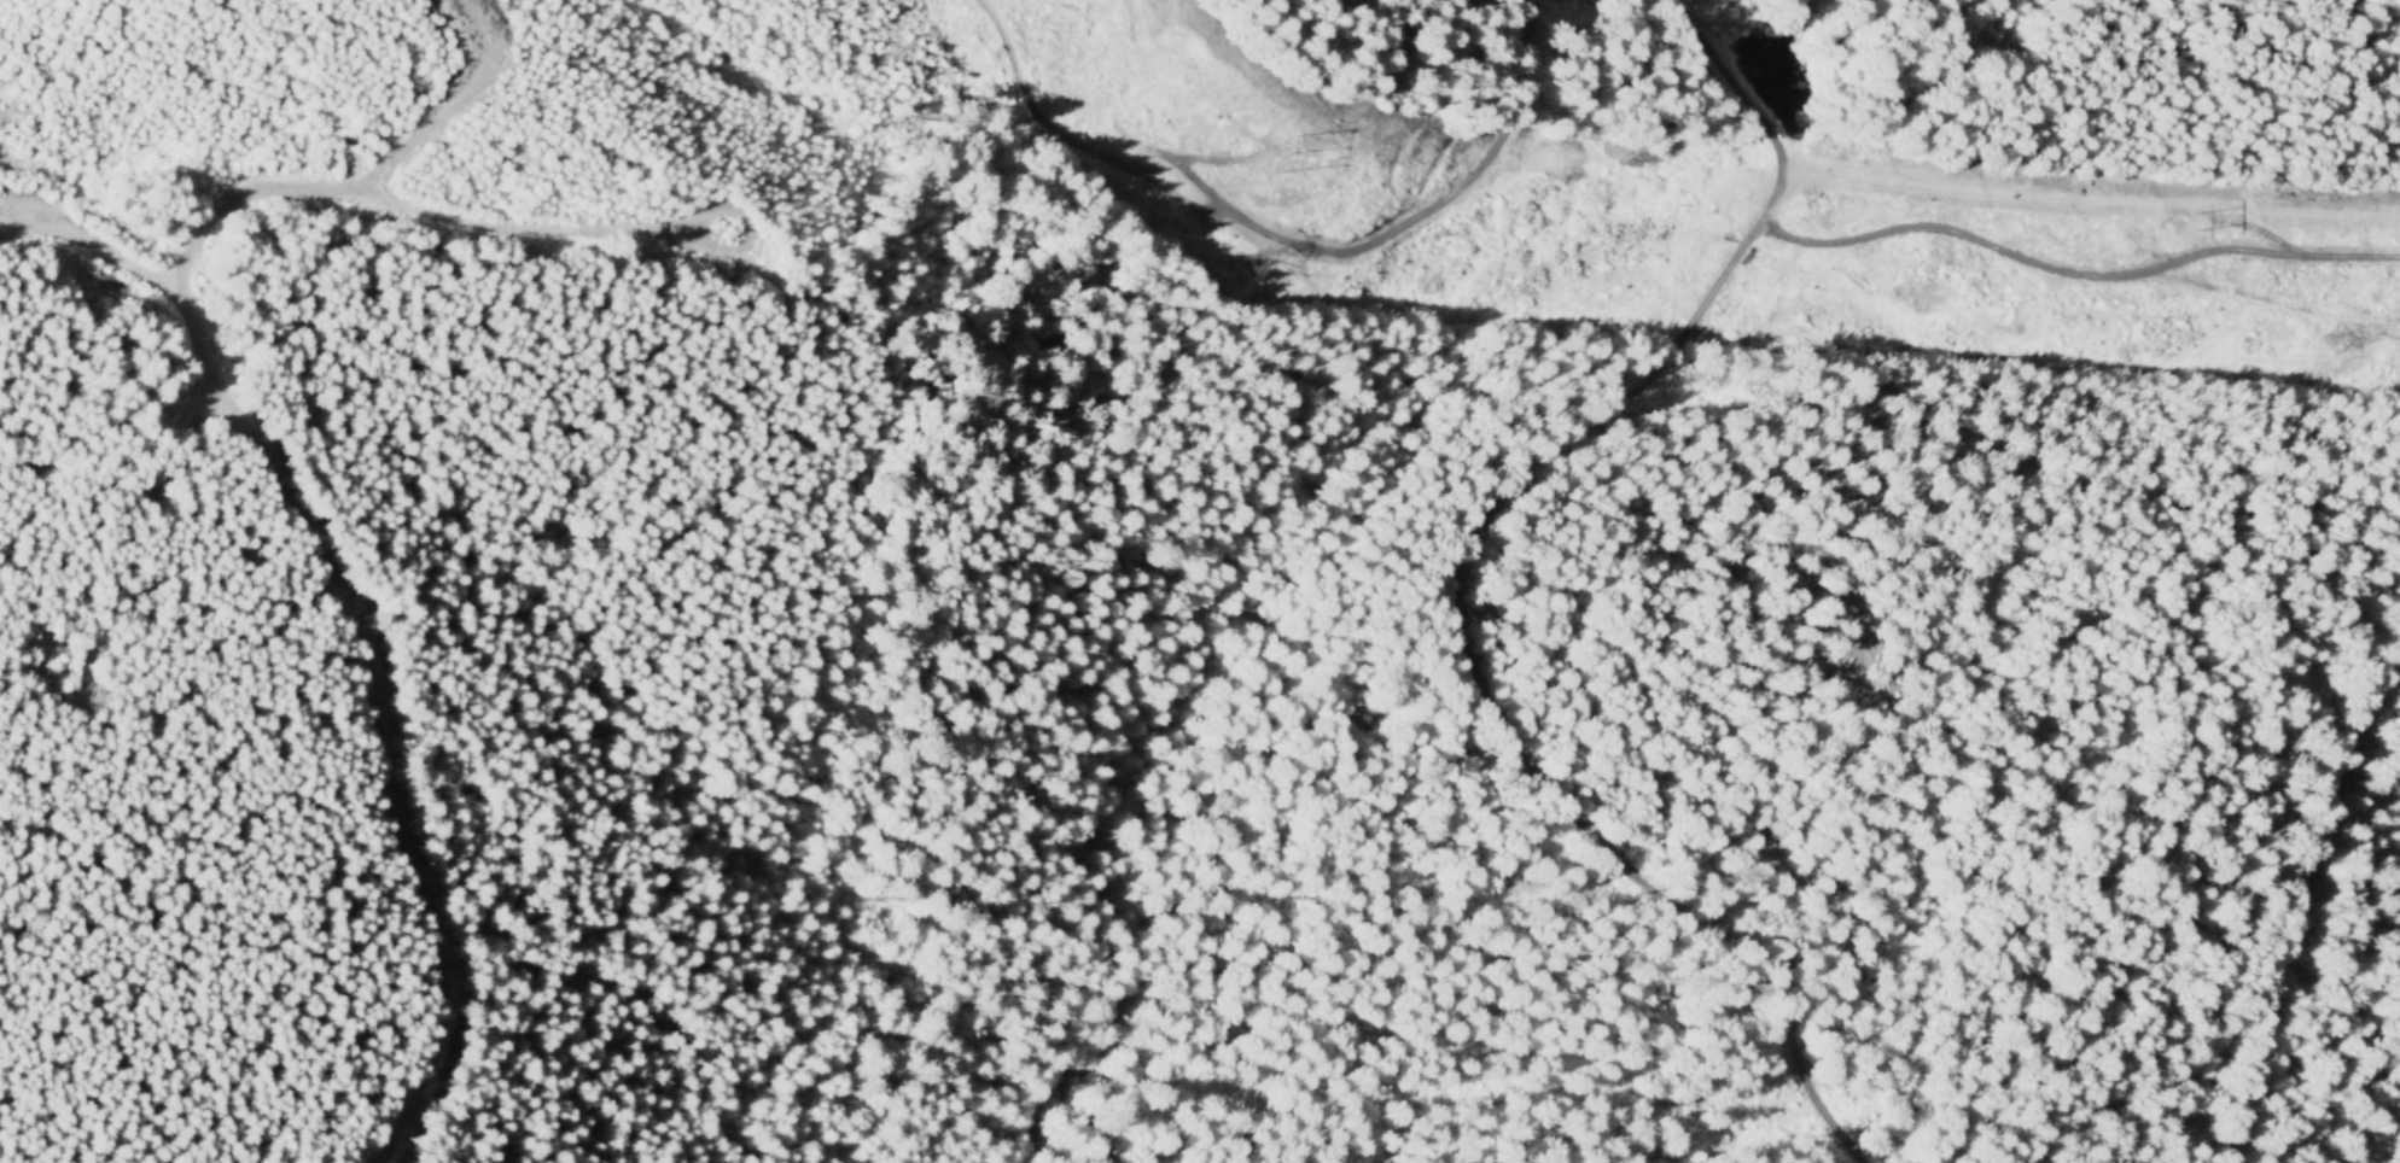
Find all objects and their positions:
power tower: (1287, 156)
road: (1719, 203)
power tower: (2194, 224)
road: (2318, 945)

